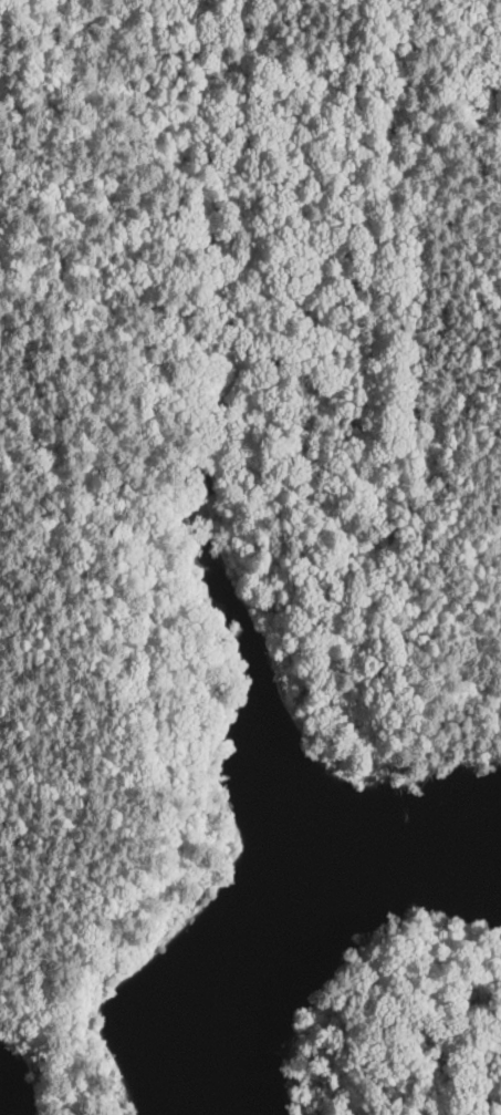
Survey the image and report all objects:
park: (230, 452)

